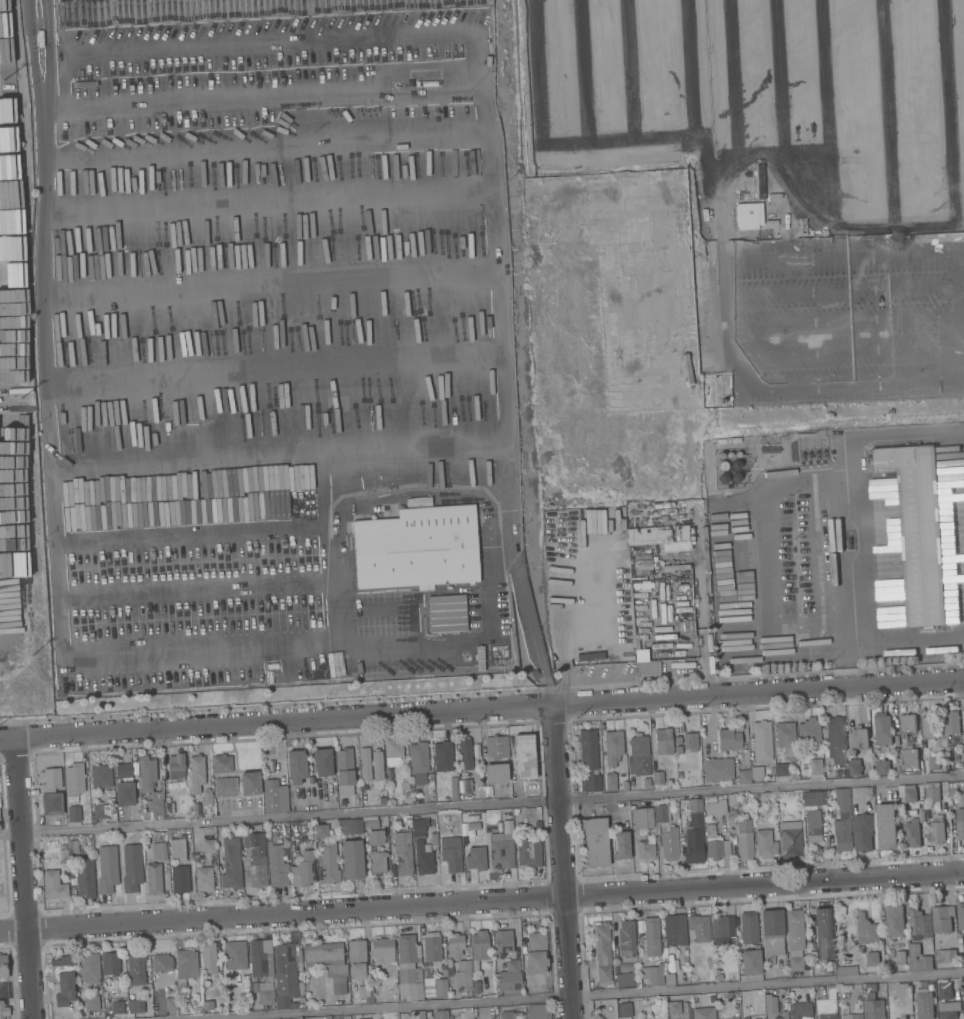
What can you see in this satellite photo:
road: (331, 3)
building: (281, 8)
building: (674, 22)
building: (612, 77)
building: (537, 89)
building: (541, 110)
road: (475, 133)
road: (705, 137)
building: (537, 152)
building: (756, 182)
road: (270, 197)
building: (748, 215)
building: (913, 221)
building: (842, 223)
building: (780, 232)
building: (821, 232)
road: (272, 280)
road: (732, 318)
road: (275, 369)
building: (729, 454)
building: (737, 454)
building: (720, 455)
building: (735, 465)
road: (121, 466)
building: (722, 466)
building: (736, 477)
building: (723, 478)
building: (418, 503)
road: (846, 505)
road: (765, 511)
building: (919, 530)
building: (658, 536)
building: (417, 548)
road: (906, 635)
building: (629, 646)
building: (615, 659)
building: (651, 661)
road: (708, 665)
road: (482, 710)
building: (907, 724)
building: (954, 725)
building: (928, 727)
building: (883, 729)
building: (809, 732)
building: (858, 737)
building: (785, 738)
building: (728, 740)
building: (761, 741)
building: (662, 742)
building: (690, 742)
building: (923, 744)
building: (835, 745)
building: (496, 747)
building: (612, 747)
building: (587, 750)
building: (393, 752)
building: (465, 754)
building: (638, 756)
building: (418, 757)
building: (442, 757)
building: (524, 757)
building: (322, 762)
building: (222, 763)
building: (908, 763)
building: (933, 763)
building: (364, 764)
building: (175, 765)
building: (377, 765)
building: (296, 766)
building: (344, 767)
building: (815, 767)
building: (882, 767)
building: (854, 769)
building: (122, 770)
building: (717, 770)
building: (780, 770)
building: (196, 773)
building: (495, 773)
building: (749, 775)
building: (100, 776)
building: (657, 777)
building: (73, 781)
building: (610, 782)
building: (646, 782)
building: (249, 783)
building: (592, 783)
building: (404, 784)
building: (639, 784)
building: (961, 784)
building: (225, 787)
building: (466, 787)
building: (624, 787)
building: (453, 788)
building: (952, 788)
building: (150, 789)
building: (931, 792)
building: (51, 793)
building: (124, 794)
building: (207, 796)
building: (276, 796)
building: (841, 796)
building: (732, 799)
building: (812, 799)
building: (963, 799)
road: (481, 805)
building: (694, 805)
building: (715, 807)
building: (169, 808)
building: (920, 810)
building: (515, 811)
building: (99, 812)
building: (204, 812)
building: (661, 813)
building: (73, 814)
building: (641, 818)
building: (370, 824)
building: (960, 824)
building: (419, 825)
building: (813, 826)
building: (887, 826)
building: (349, 827)
building: (937, 830)
building: (321, 831)
building: (863, 832)
building: (841, 833)
building: (375, 837)
building: (145, 838)
building: (790, 838)
building: (433, 839)
building: (744, 840)
building: (195, 841)
building: (595, 841)
building: (669, 844)
building: (764, 844)
building: (621, 845)
building: (692, 845)
building: (713, 845)
building: (73, 846)
building: (209, 846)
building: (645, 848)
building: (177, 849)
building: (725, 849)
building: (159, 851)
building: (501, 851)
building: (528, 852)
building: (451, 853)
building: (403, 854)
building: (423, 858)
building: (254, 859)
building: (475, 859)
building: (352, 860)
building: (376, 862)
road: (561, 862)
building: (230, 864)
building: (327, 864)
building: (276, 866)
building: (131, 867)
building: (107, 869)
building: (303, 870)
road: (22, 878)
building: (84, 878)
building: (153, 879)
building: (180, 879)
building: (203, 879)
building: (53, 885)
road: (481, 900)
building: (960, 917)
building: (942, 919)
building: (894, 921)
building: (919, 925)
building: (698, 928)
building: (748, 928)
building: (721, 929)
building: (866, 929)
building: (674, 930)
building: (794, 930)
building: (771, 932)
building: (823, 934)
building: (651, 937)
building: (626, 938)
building: (937, 939)
building: (503, 941)
building: (454, 944)
building: (479, 945)
building: (431, 947)
building: (406, 949)
building: (382, 950)
building: (536, 953)
building: (603, 953)
building: (235, 955)
building: (945, 955)
building: (259, 957)
building: (901, 957)
building: (208, 958)
building: (356, 959)
building: (872, 959)
building: (918, 959)
building: (750, 961)
building: (110, 963)
building: (161, 963)
building: (327, 963)
building: (795, 964)
building: (3, 966)
building: (827, 966)
building: (89, 967)
building: (185, 967)
building: (626, 967)
building: (135, 968)
building: (287, 969)
building: (447, 969)
building: (846, 971)
building: (409, 974)
building: (652, 974)
building: (460, 976)
building: (510, 977)
building: (63, 979)
building: (624, 980)
building: (669, 980)
building: (636, 981)
building: (922, 983)
building: (963, 985)
building: (253, 987)
building: (477, 987)
building: (440, 988)
building: (902, 989)
building: (944, 990)
building: (265, 993)
building: (366, 994)
road: (587, 995)
building: (729, 995)
building: (169, 998)
building: (825, 1002)
building: (91, 1003)
building: (770, 1004)
building: (207, 1005)
building: (293, 1005)
building: (925, 1005)
building: (136, 1006)
building: (117, 1007)
building: (180, 1008)
building: (673, 1008)
park: (604, 1009)
building: (874, 1009)
building: (948, 1009)
building: (3, 1010)
building: (197, 1010)
building: (623, 1010)
building: (647, 1010)
building: (801, 1010)
building: (538, 1011)
building: (703, 1013)
building: (420, 1014)
building: (851, 1014)
building: (440, 1015)
building: (509, 1015)
building: (782, 1015)
building: (734, 1017)
building: (902, 1017)

